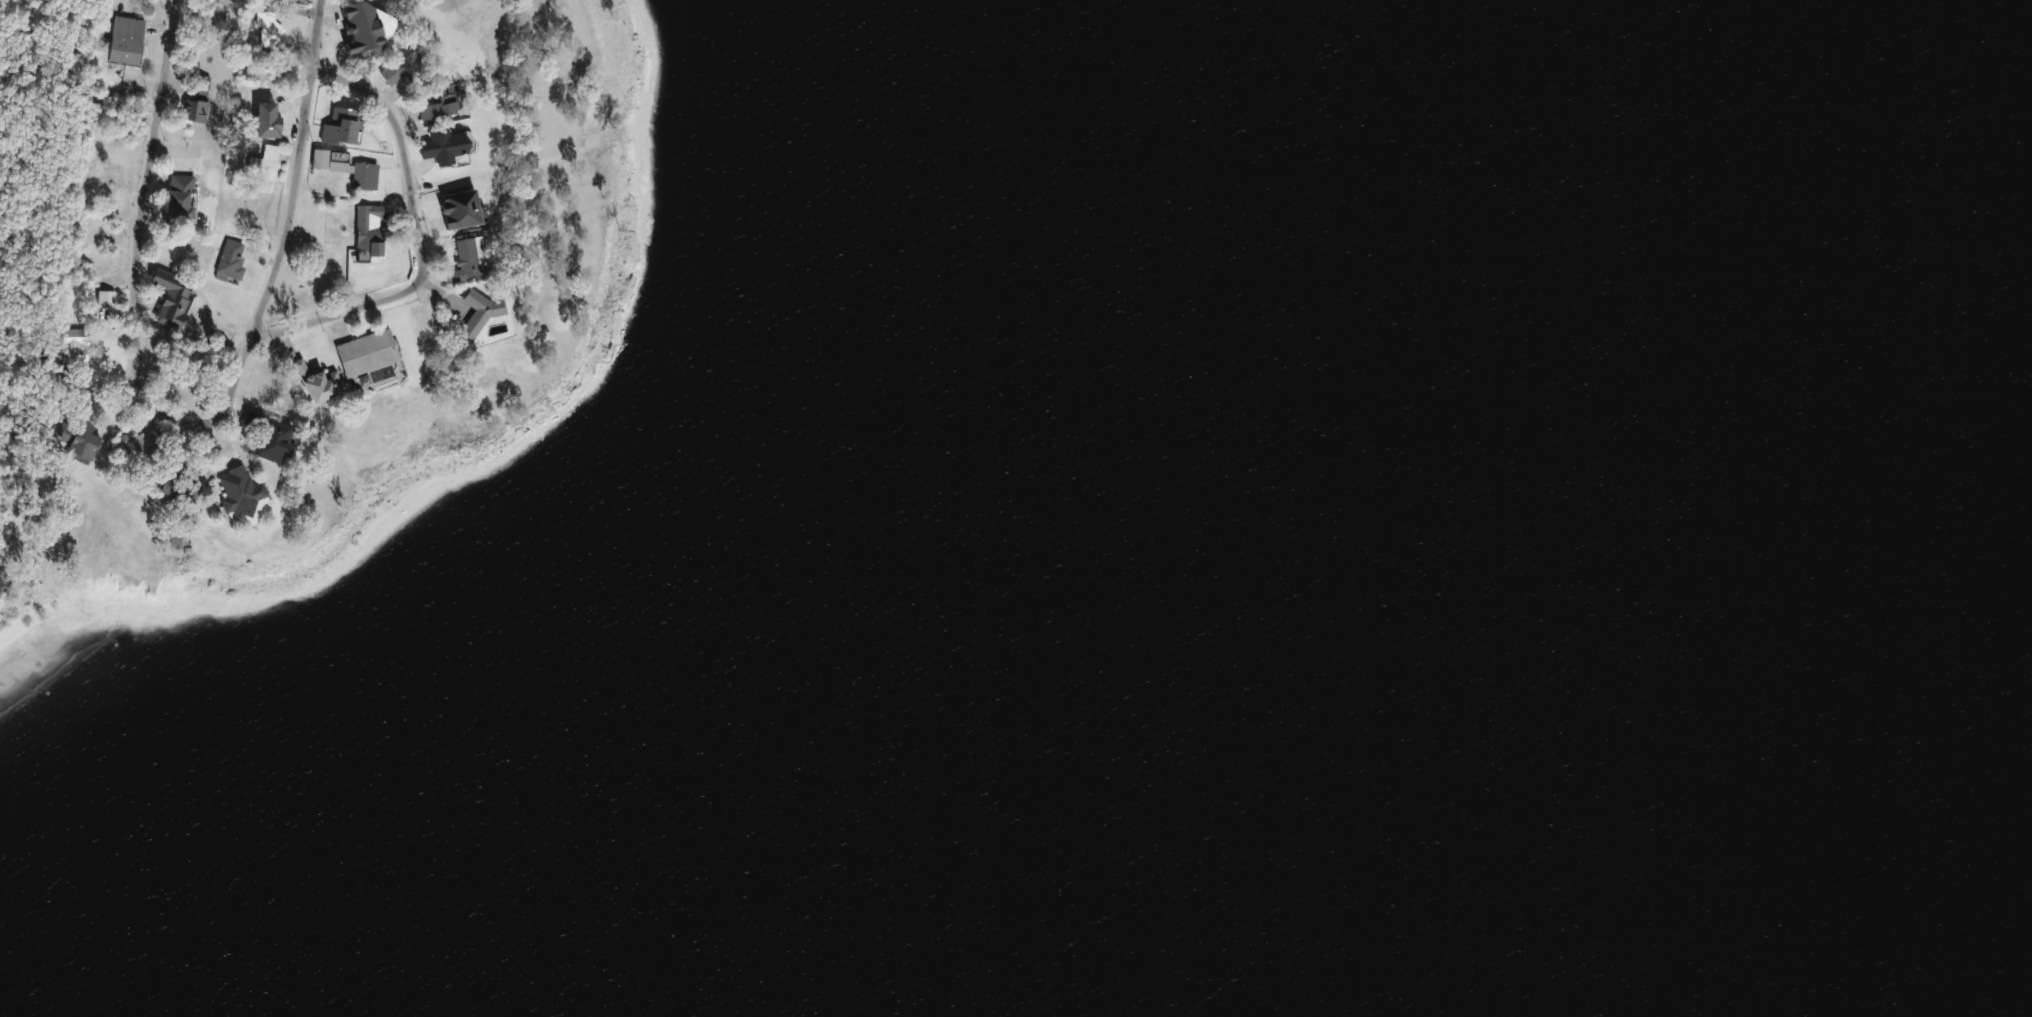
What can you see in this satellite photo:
building: (269, 28)
building: (366, 28)
building: (129, 39)
building: (406, 66)
building: (442, 102)
building: (198, 110)
building: (271, 118)
building: (346, 125)
building: (449, 144)
building: (268, 159)
building: (349, 166)
road: (298, 172)
building: (184, 196)
building: (462, 206)
building: (372, 229)
road: (420, 239)
building: (470, 258)
building: (233, 263)
road: (135, 280)
building: (175, 296)
building: (480, 312)
building: (91, 350)
building: (370, 351)
building: (323, 382)
building: (273, 436)
building: (89, 440)
building: (145, 445)
building: (176, 484)
building: (243, 492)

